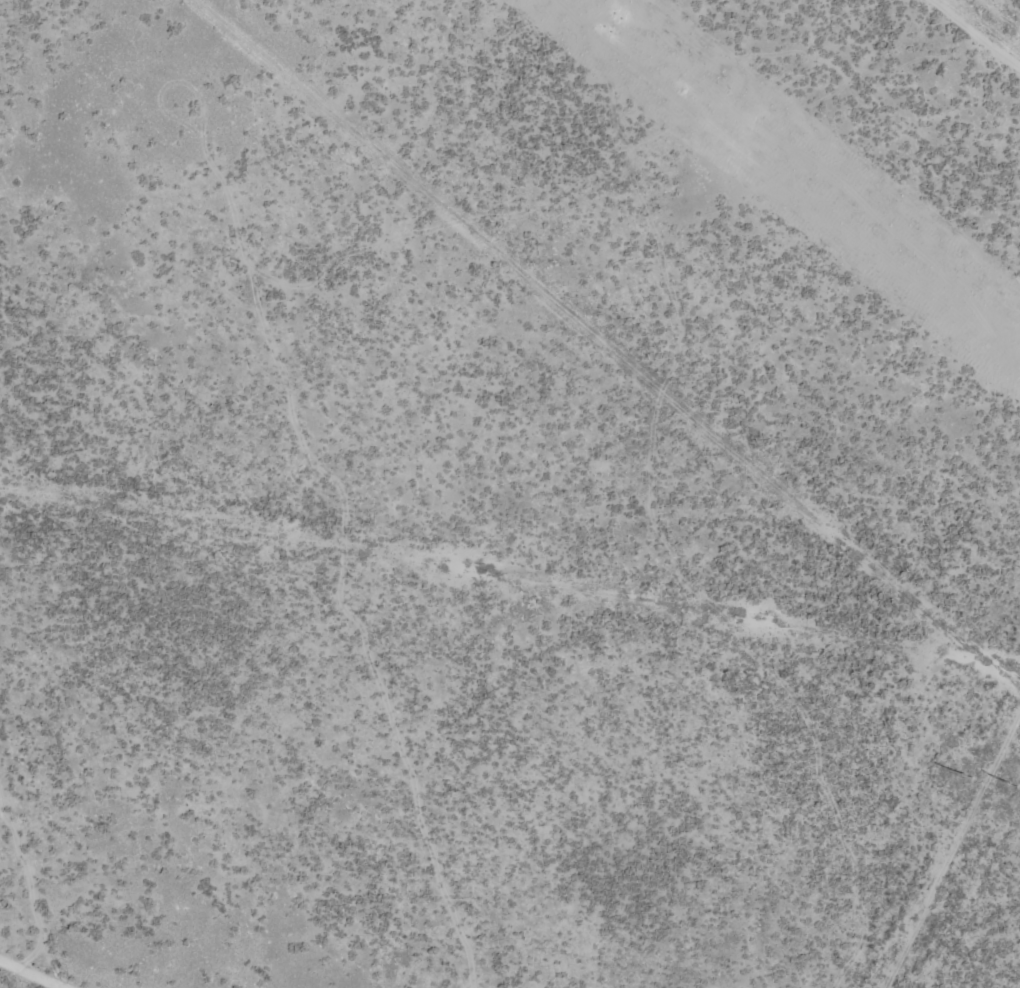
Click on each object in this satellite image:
power tower: (609, 24)
power tower: (967, 777)
power tower: (1013, 785)
road: (43, 968)

